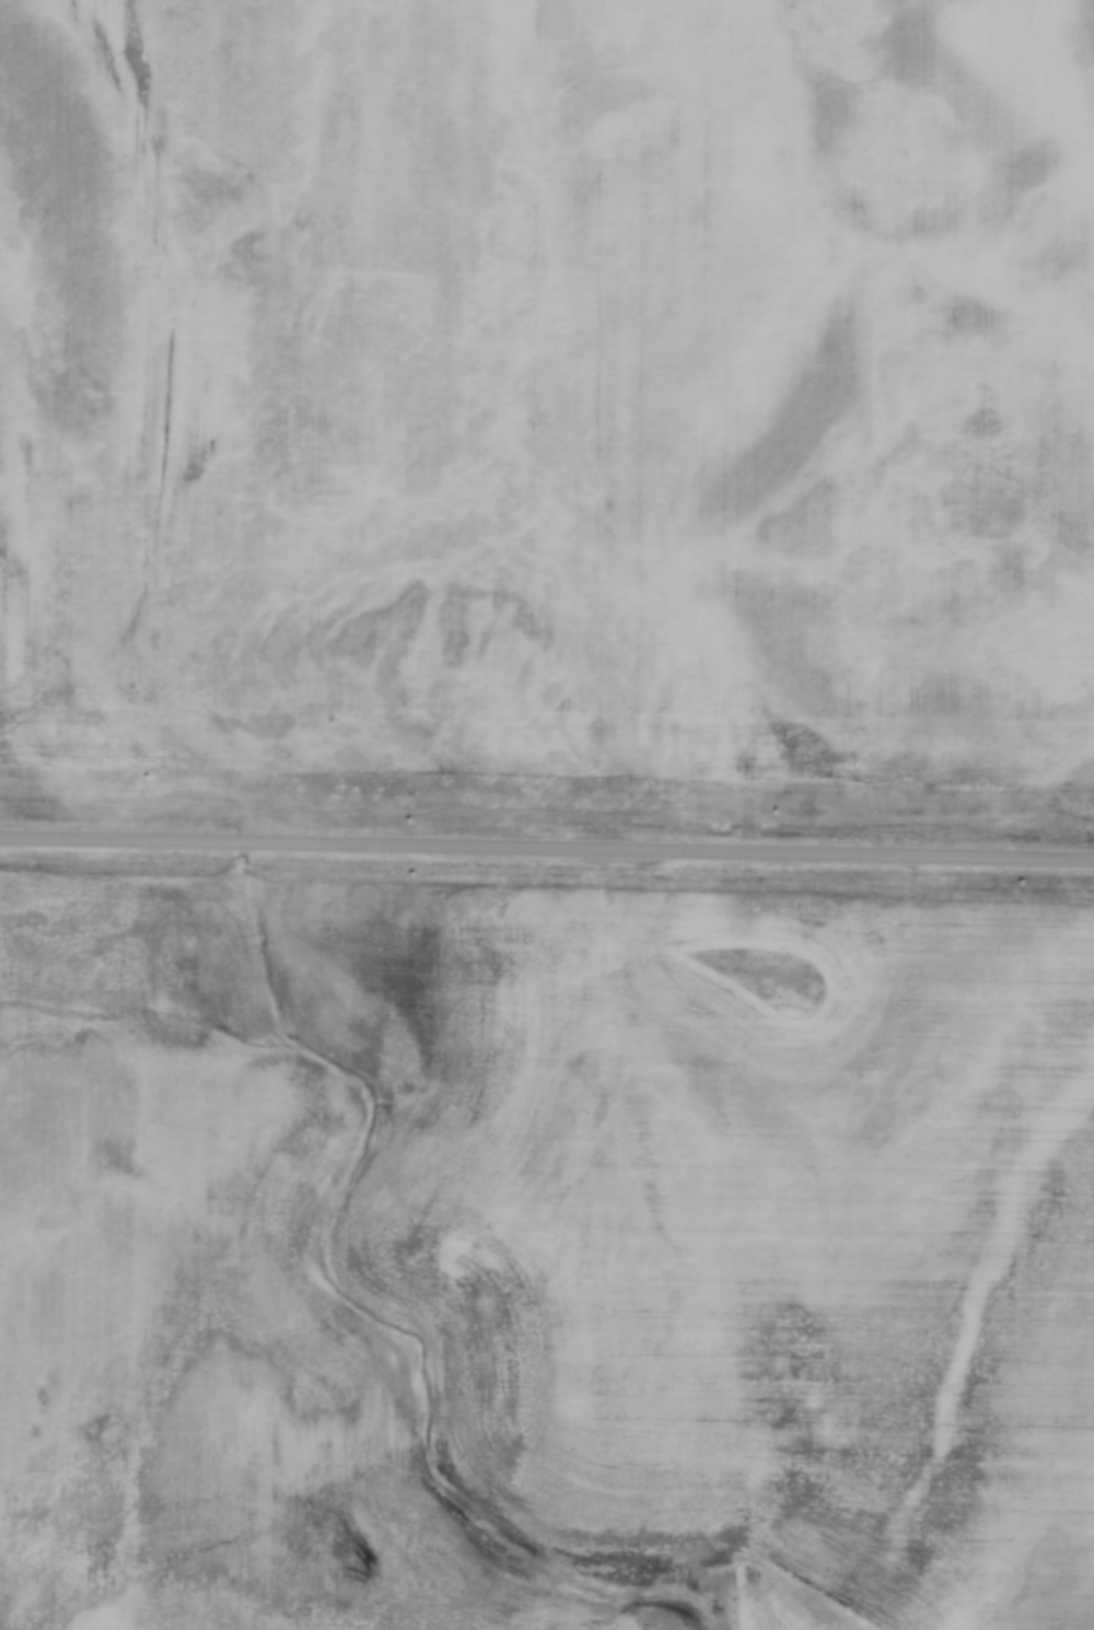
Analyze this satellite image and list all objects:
road: (546, 848)

